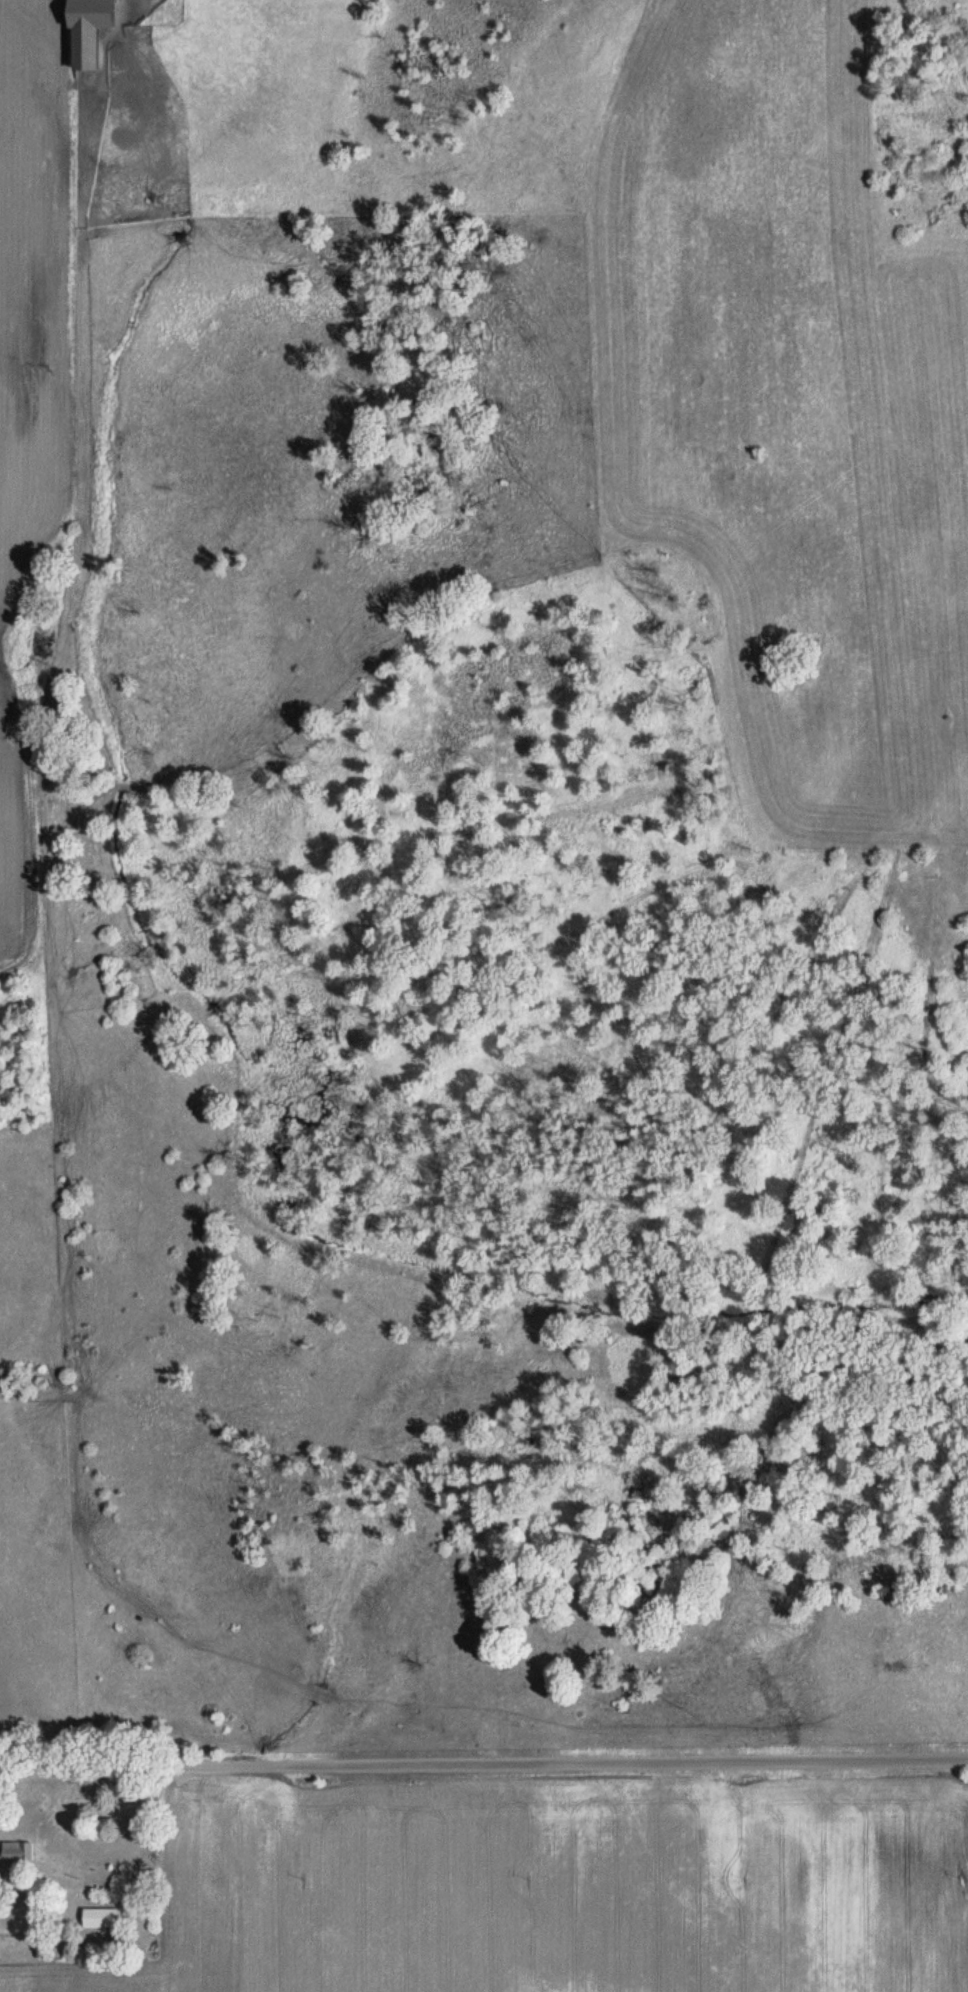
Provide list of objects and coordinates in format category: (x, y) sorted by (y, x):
building: (86, 29)
road: (484, 1761)
building: (15, 1853)
building: (100, 1916)

